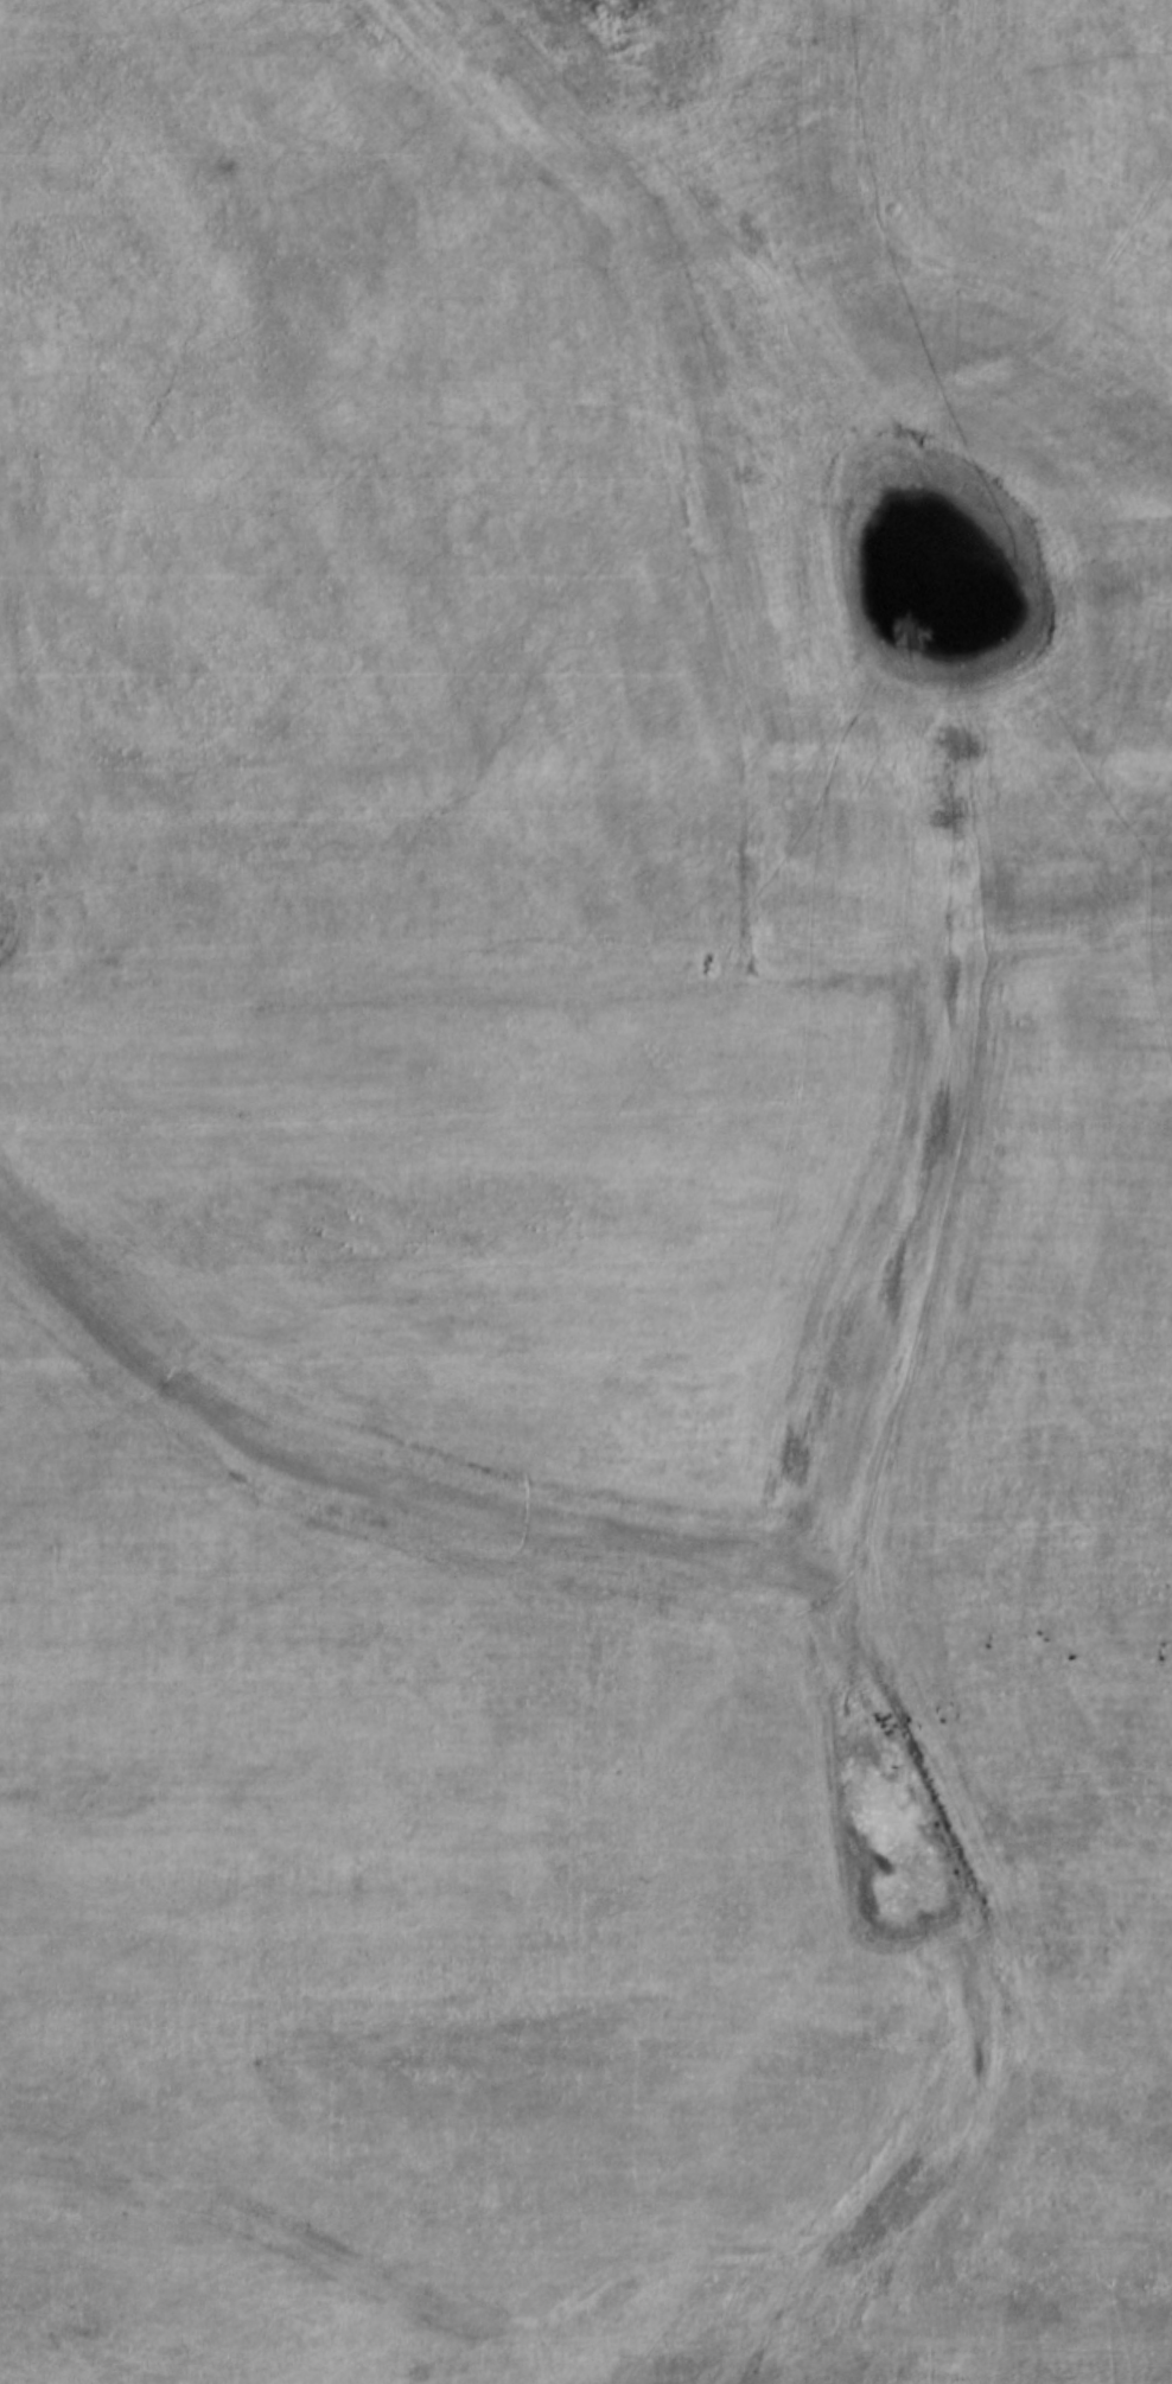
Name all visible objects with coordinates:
quarry: (586, 1192)

